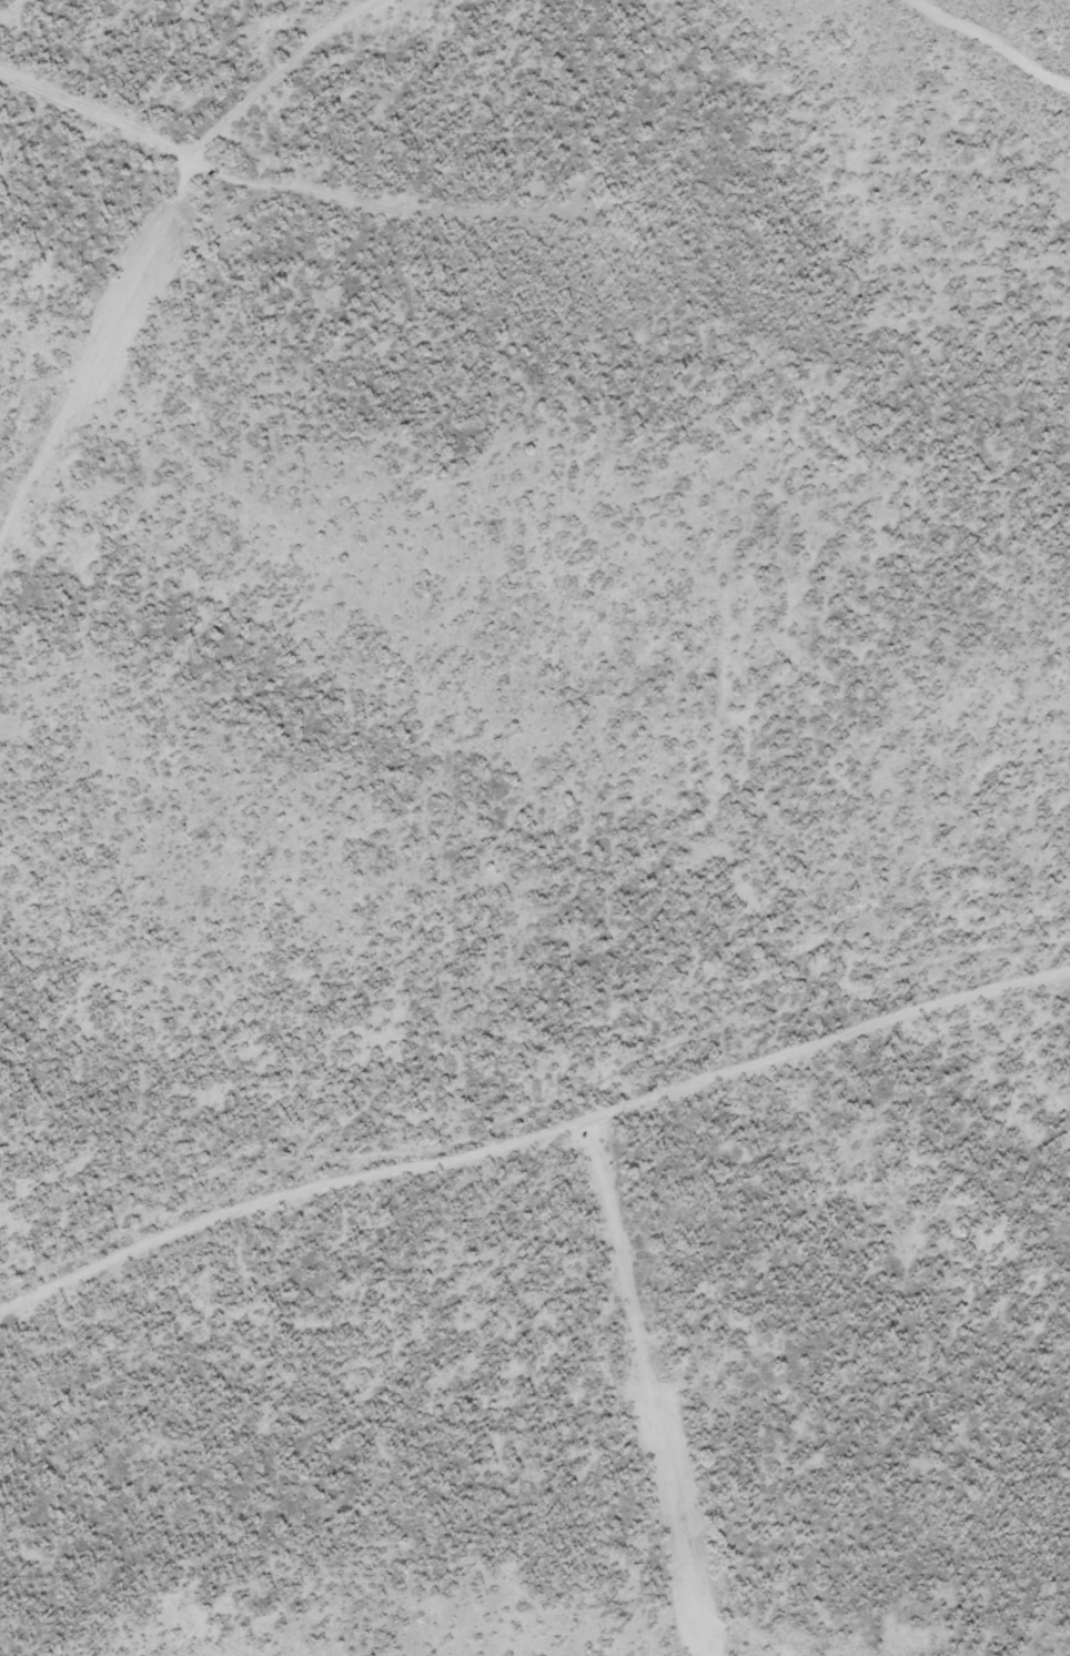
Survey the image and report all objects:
road: (990, 46)
road: (280, 184)
road: (149, 250)
road: (533, 1137)
road: (650, 1390)

